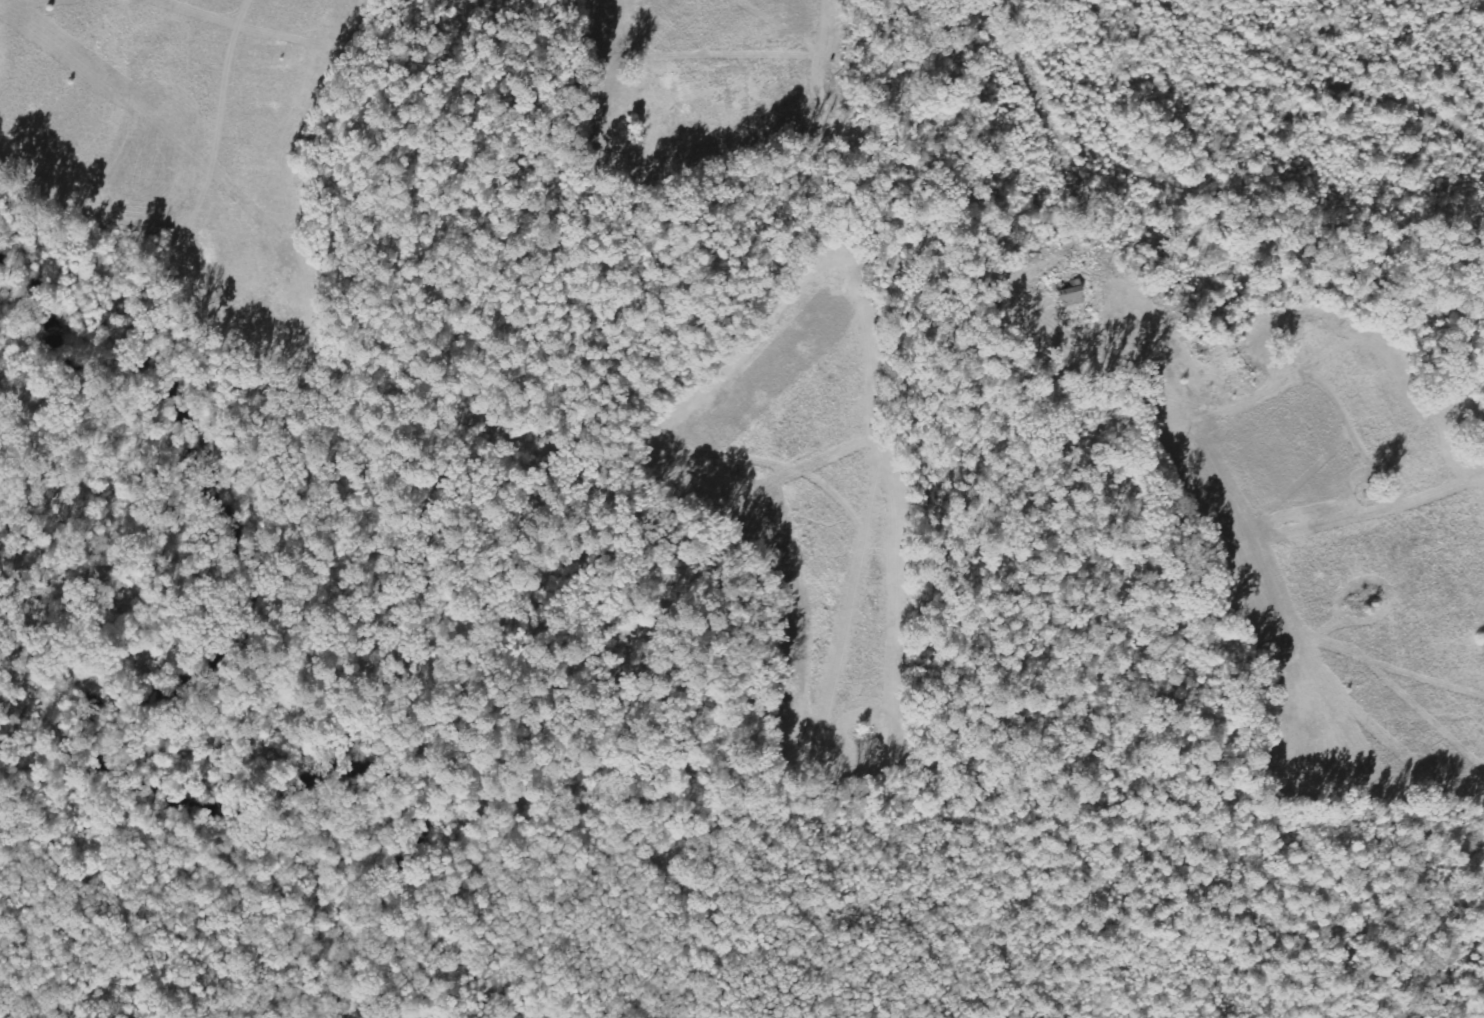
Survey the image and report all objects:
building: (1072, 296)

